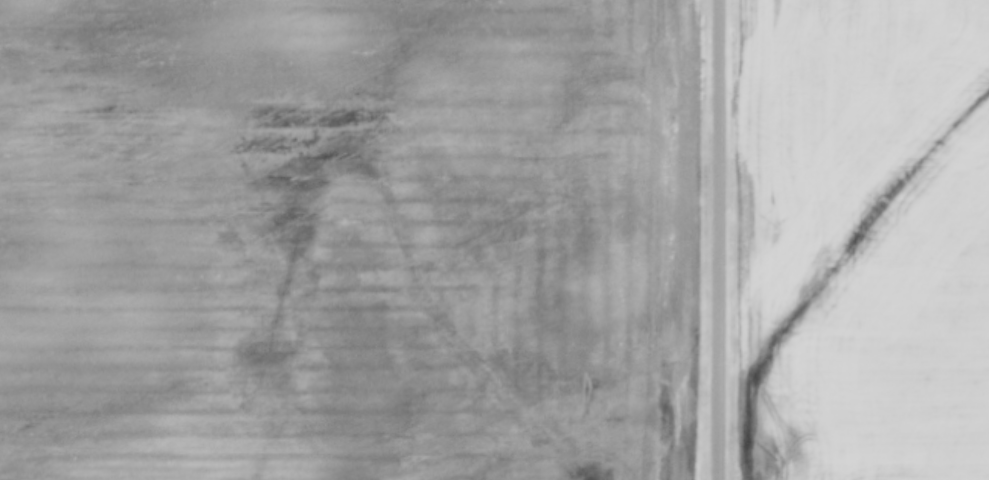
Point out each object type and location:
road: (723, 240)

